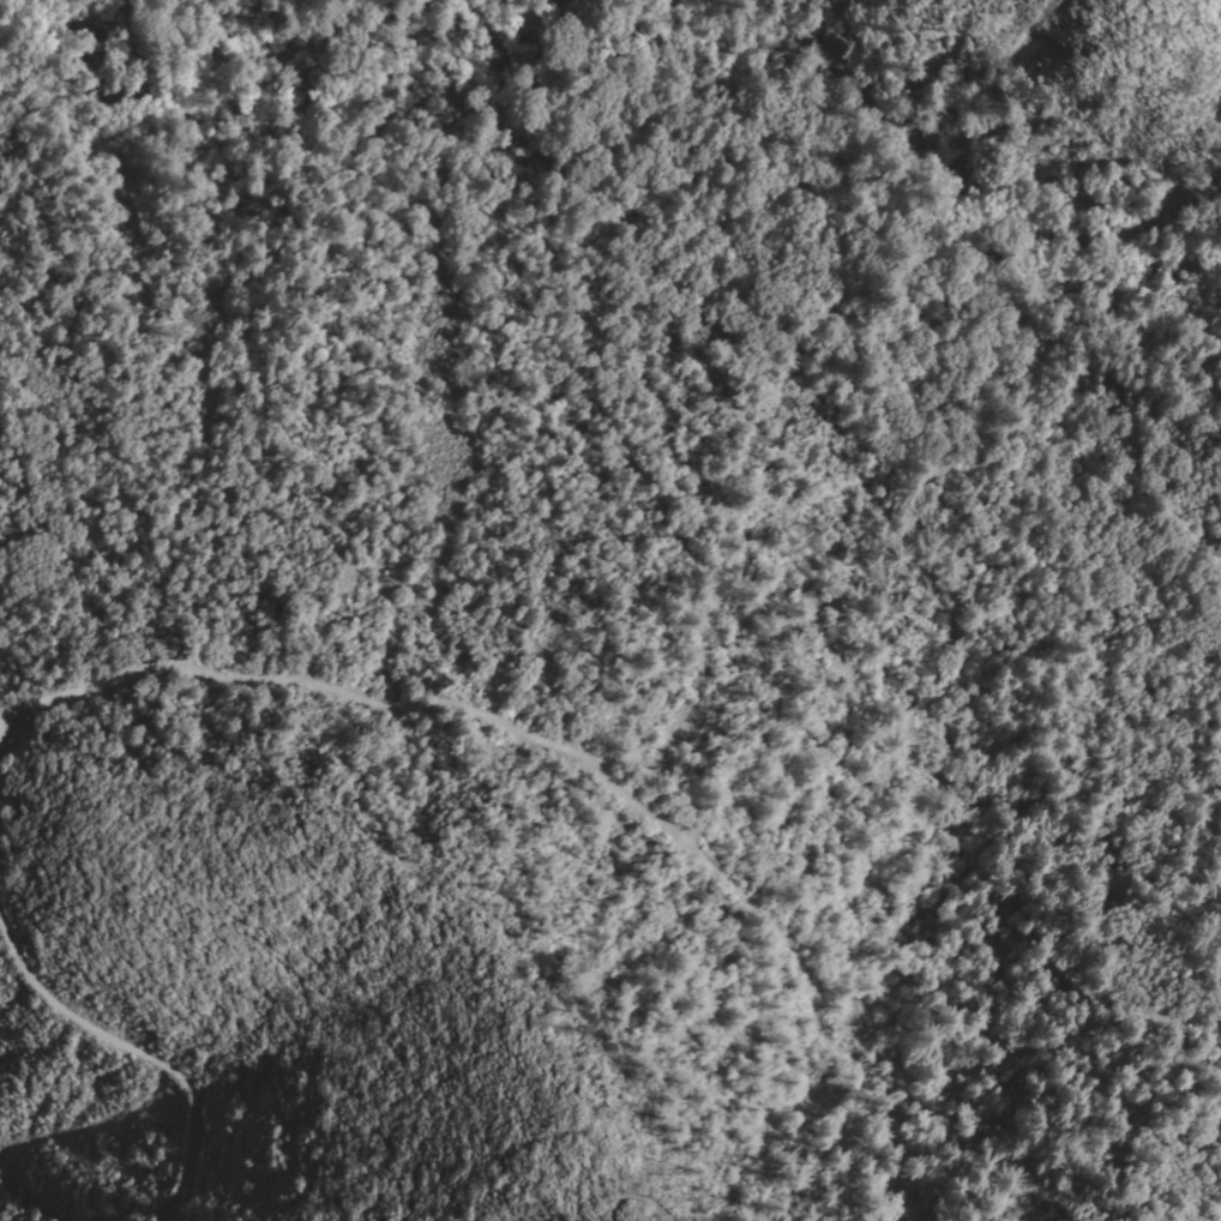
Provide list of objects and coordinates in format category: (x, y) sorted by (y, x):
road: (667, 800)
road: (138, 1053)
road: (634, 1201)

